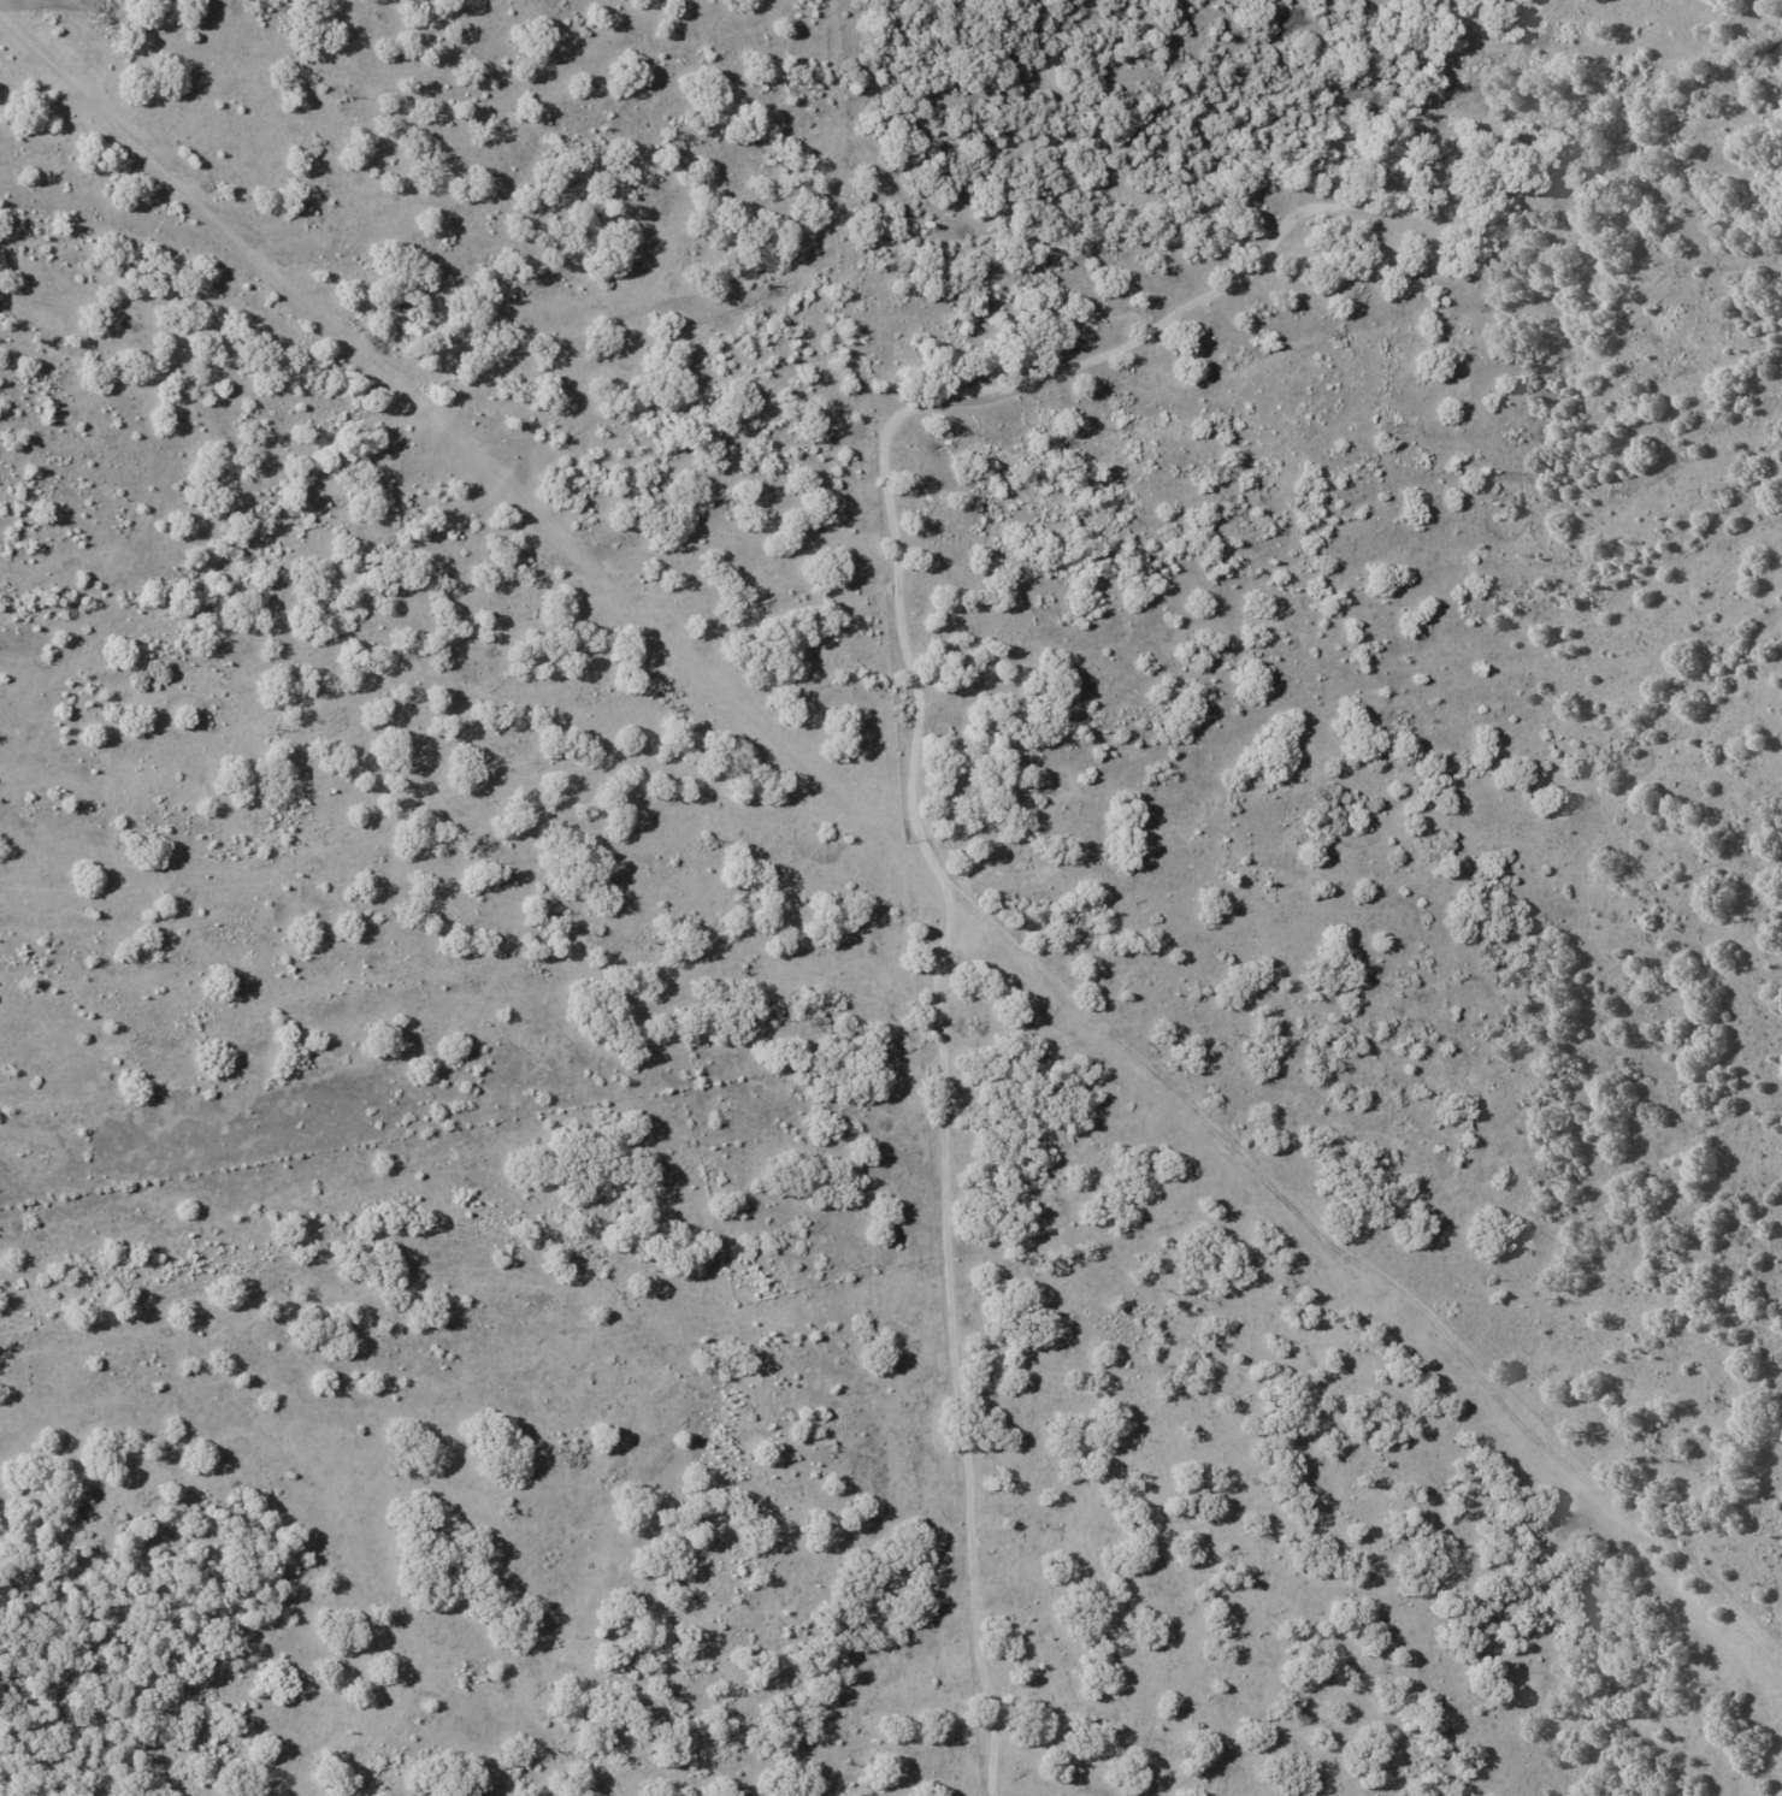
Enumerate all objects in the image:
road: (915, 692)

